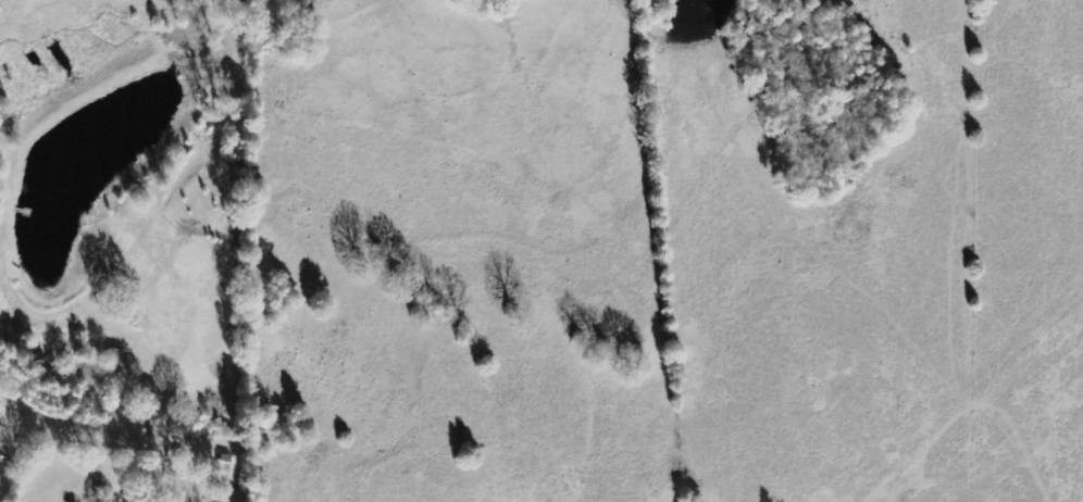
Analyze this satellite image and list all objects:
building: (1, 430)

